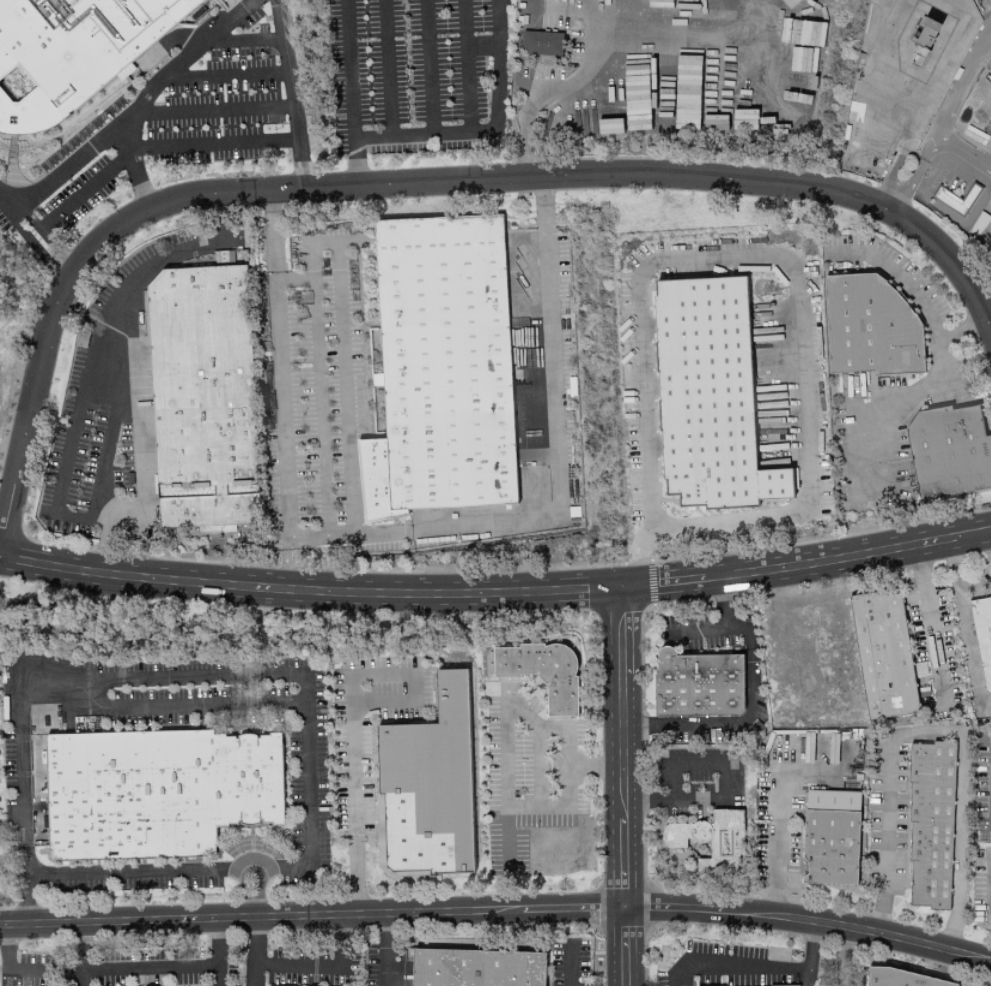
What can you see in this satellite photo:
road: (243, 37)
building: (540, 43)
building: (71, 53)
road: (426, 69)
road: (465, 69)
road: (387, 70)
road: (355, 71)
road: (227, 74)
road: (575, 82)
building: (809, 85)
road: (958, 89)
road: (154, 93)
road: (289, 95)
road: (212, 106)
building: (614, 125)
road: (493, 135)
road: (213, 145)
road: (905, 146)
road: (955, 152)
road: (361, 164)
road: (59, 175)
road: (408, 184)
road: (907, 185)
road: (73, 204)
road: (758, 254)
road: (913, 296)
park: (12, 312)
building: (873, 327)
building: (444, 371)
road: (317, 374)
road: (281, 390)
building: (706, 397)
building: (205, 398)
road: (349, 409)
road: (847, 444)
road: (554, 445)
building: (952, 451)
road: (98, 477)
road: (990, 531)
road: (847, 559)
road: (664, 585)
road: (975, 588)
road: (310, 590)
road: (930, 623)
road: (724, 628)
road: (965, 630)
road: (623, 631)
building: (981, 639)
building: (880, 654)
building: (545, 674)
road: (219, 679)
building: (695, 682)
road: (186, 706)
road: (353, 716)
road: (737, 726)
road: (505, 727)
road: (934, 733)
road: (571, 766)
road: (598, 767)
road: (673, 767)
building: (429, 788)
building: (158, 792)
road: (776, 814)
building: (928, 825)
road: (624, 829)
building: (828, 836)
building: (710, 839)
road: (137, 872)
road: (498, 910)
road: (218, 941)
road: (78, 944)
road: (385, 950)
road: (845, 958)
road: (322, 962)
road: (159, 964)
road: (568, 965)
road: (3, 966)
building: (479, 968)
road: (763, 972)
road: (6, 973)
road: (77, 976)
building: (908, 979)
road: (813, 981)
building: (766, 985)

